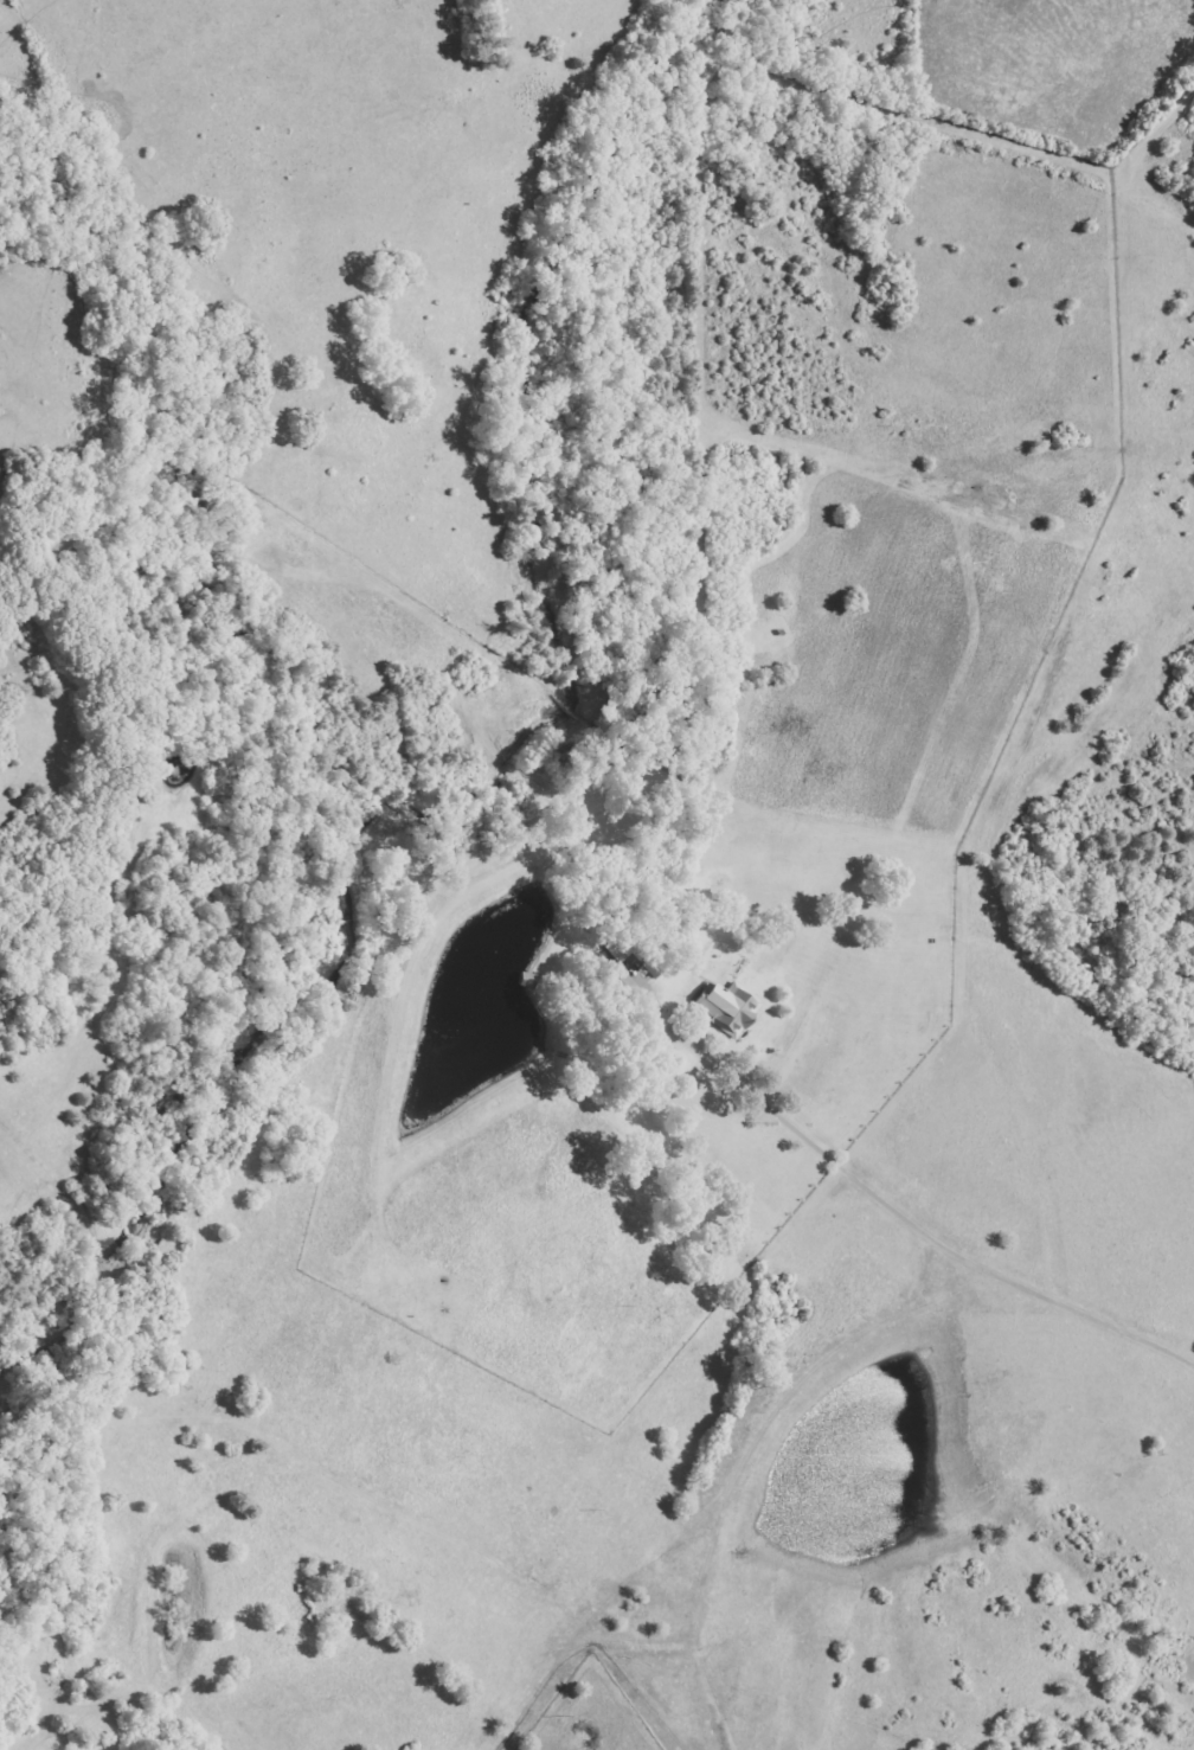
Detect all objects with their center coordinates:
building: (616, 948)
building: (616, 981)
building: (726, 1007)

